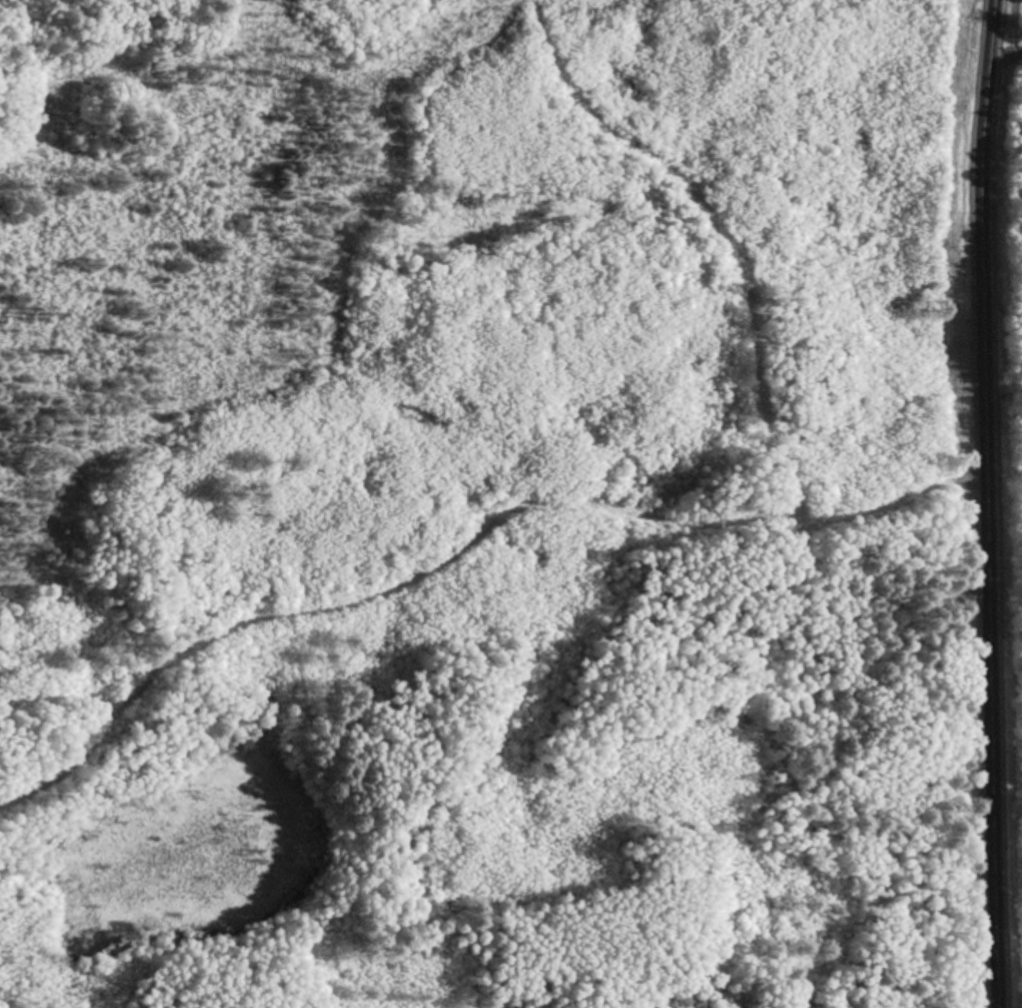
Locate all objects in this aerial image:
road: (987, 503)

